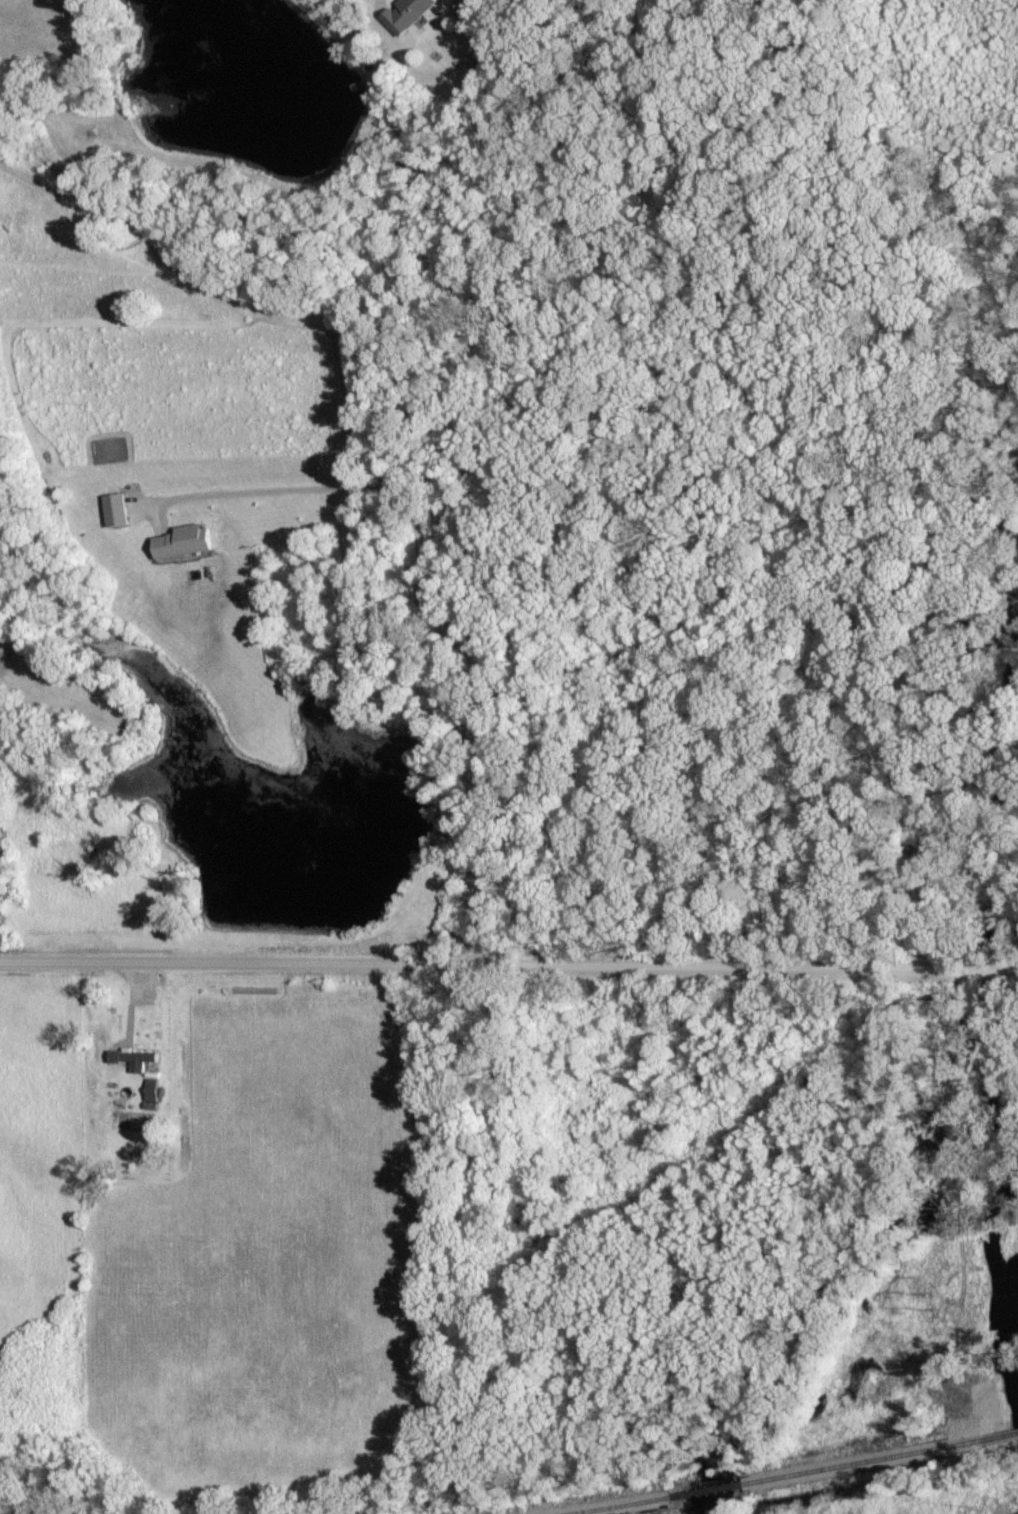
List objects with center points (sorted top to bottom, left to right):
building: (412, 9)
building: (117, 508)
building: (186, 540)
road: (427, 605)
road: (509, 960)
building: (134, 1058)
building: (151, 1088)
power tower: (932, 1291)
railway: (1002, 1437)
railway: (868, 1462)
railway: (709, 1490)
railway: (617, 1505)

